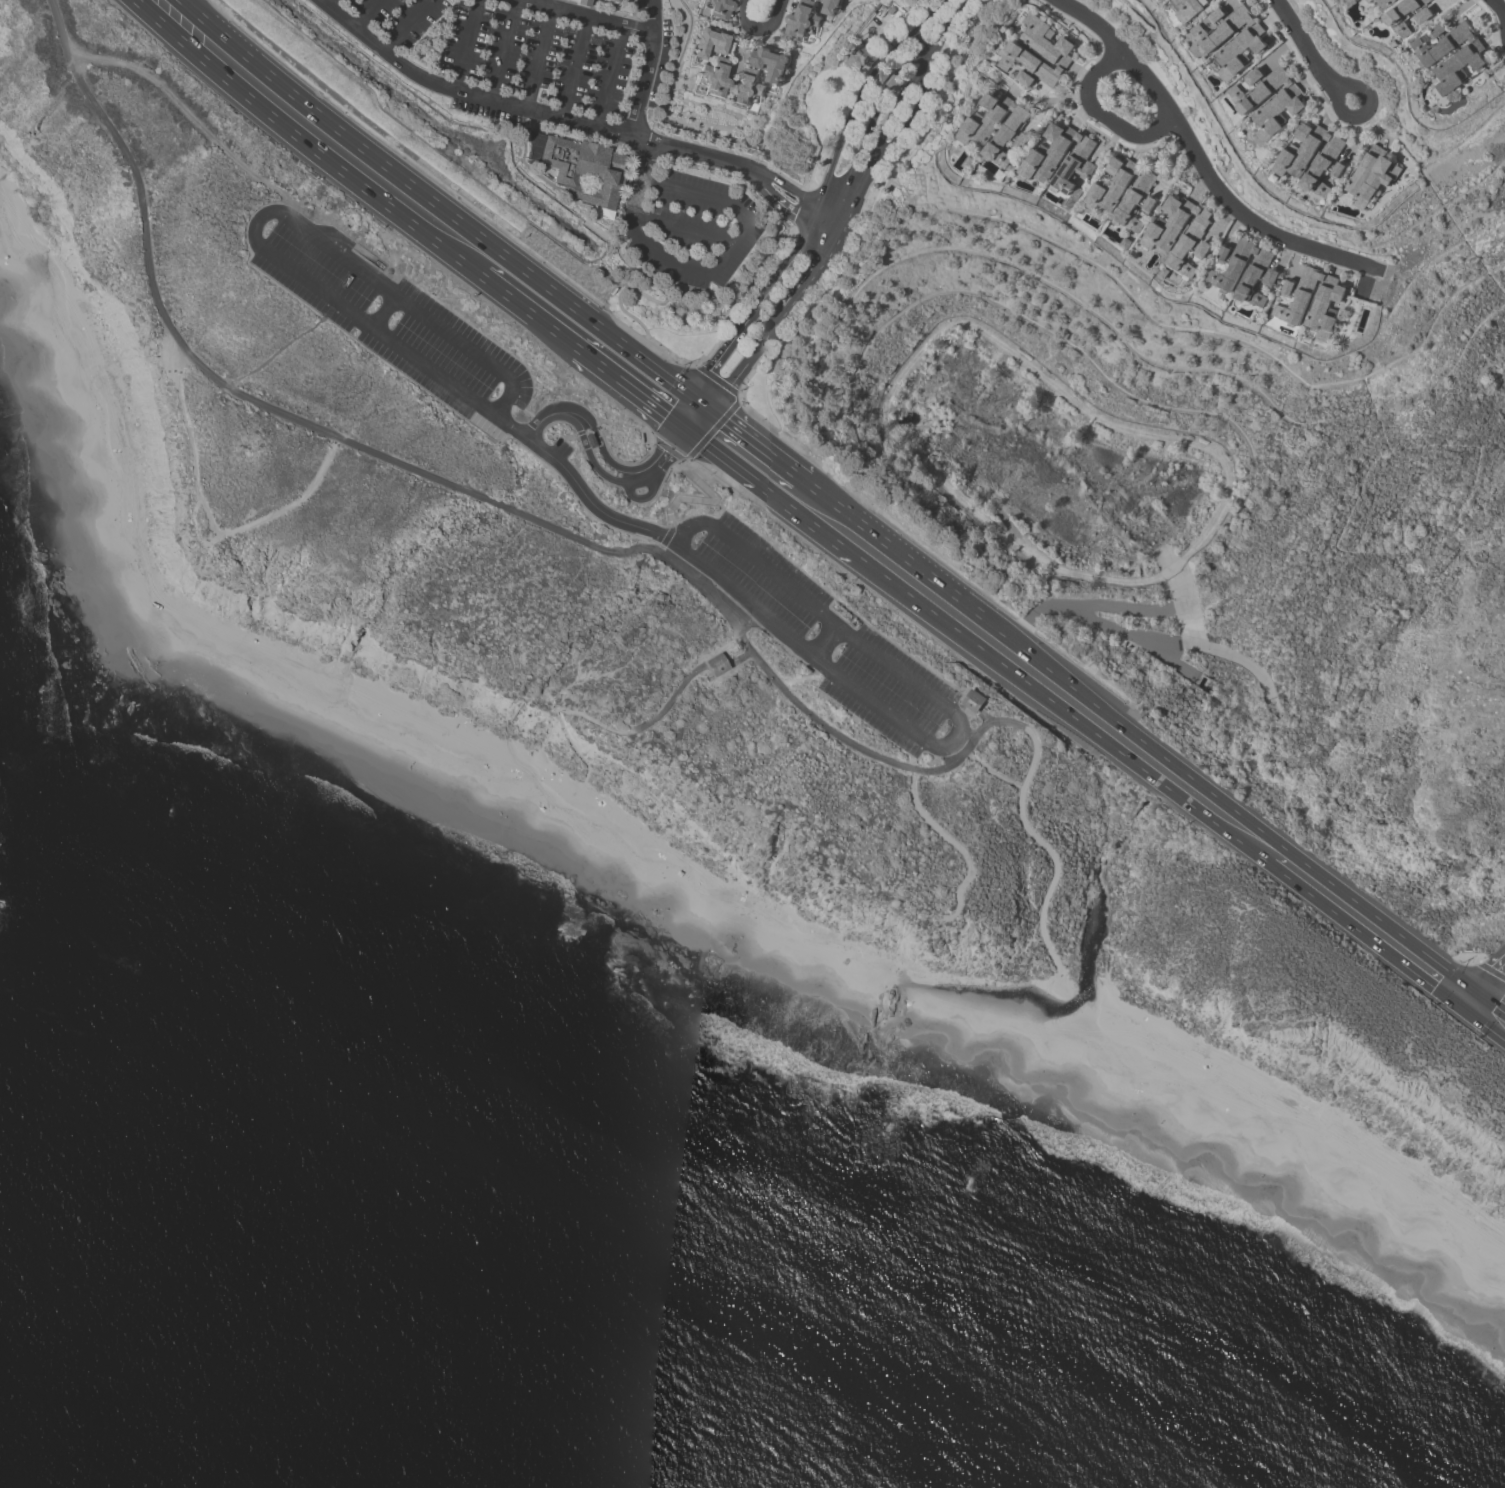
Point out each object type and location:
building: (612, 1)
building: (1369, 1)
road: (326, 2)
building: (582, 3)
building: (1386, 3)
building: (831, 6)
building: (716, 8)
building: (1188, 9)
road: (195, 11)
road: (199, 11)
road: (365, 12)
road: (587, 17)
building: (803, 19)
building: (1395, 20)
road: (406, 25)
road: (757, 30)
building: (1248, 39)
building: (710, 43)
road: (925, 43)
road: (465, 45)
road: (1306, 46)
building: (1054, 49)
road: (503, 50)
parking lot: (504, 56)
building: (860, 57)
building: (1467, 57)
road: (537, 58)
building: (770, 62)
road: (647, 66)
road: (573, 67)
road: (217, 69)
road: (608, 75)
building: (712, 77)
building: (890, 78)
building: (749, 88)
building: (1285, 102)
road: (521, 108)
road: (1362, 112)
road: (1108, 113)
road: (190, 116)
building: (976, 133)
road: (1199, 160)
building: (1043, 161)
building: (1292, 162)
building: (582, 173)
building: (1371, 175)
building: (1111, 185)
road: (826, 186)
road: (794, 191)
road: (853, 196)
building: (1136, 200)
road: (383, 203)
road: (784, 207)
road: (454, 217)
parking lot: (691, 225)
road: (751, 227)
building: (1161, 235)
building: (1230, 265)
road: (678, 266)
building: (1257, 277)
road: (314, 286)
road: (500, 292)
building: (1321, 302)
road: (382, 310)
parking lot: (390, 317)
road: (569, 344)
road: (282, 346)
road: (644, 401)
road: (694, 403)
road: (704, 409)
road: (537, 423)
road: (716, 423)
traffic signals: (681, 429)
road: (596, 438)
building: (590, 440)
road: (755, 444)
road: (667, 445)
road: (590, 461)
road: (649, 465)
road: (732, 465)
road: (422, 475)
road: (645, 496)
road: (706, 501)
road: (207, 517)
road: (195, 530)
road: (679, 530)
road: (823, 533)
road: (666, 536)
road: (893, 548)
road: (658, 550)
road: (1125, 608)
road: (831, 620)
road: (1102, 623)
parking lot: (824, 636)
road: (825, 639)
road: (1164, 641)
road: (722, 648)
road: (982, 650)
road: (810, 651)
road: (1233, 656)
building: (716, 665)
road: (803, 677)
road: (826, 679)
road: (671, 697)
building: (974, 700)
road: (990, 723)
road: (968, 732)
road: (956, 739)
road: (917, 745)
road: (912, 760)
road: (992, 772)
road: (1184, 799)
road: (1227, 804)
road: (956, 845)
road: (1047, 848)
road: (1329, 905)
traffic signals: (1495, 969)
road: (1489, 974)
road: (1425, 978)
traffic signals: (1435, 986)
road: (1469, 998)
road: (1490, 1001)
traffic signals: (1496, 1006)
road: (1483, 1022)

